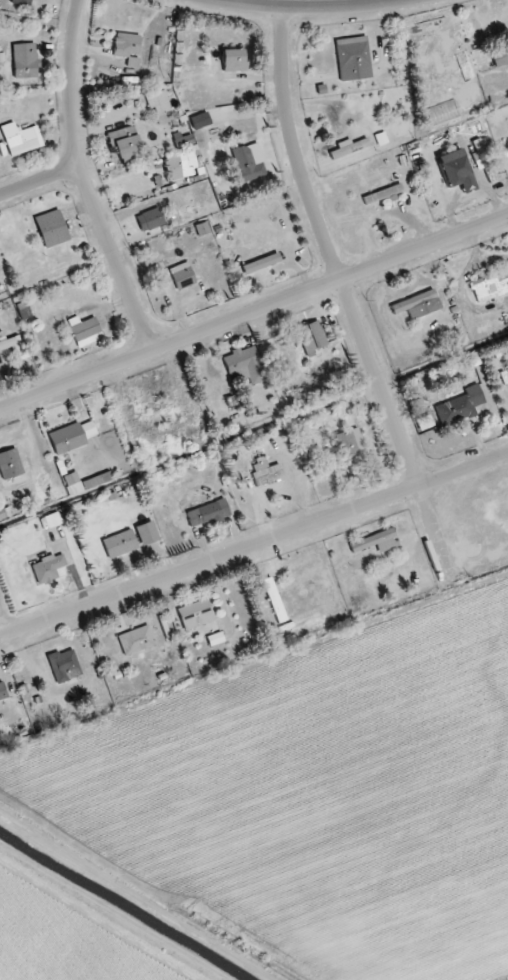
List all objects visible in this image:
building: (21, 2)
road: (310, 7)
building: (126, 48)
building: (499, 55)
building: (352, 58)
building: (24, 60)
building: (232, 60)
building: (162, 72)
building: (157, 101)
building: (20, 139)
building: (183, 141)
building: (123, 142)
building: (349, 147)
building: (246, 164)
building: (180, 166)
building: (454, 170)
road: (85, 180)
road: (40, 182)
building: (382, 194)
building: (149, 219)
building: (51, 228)
building: (201, 229)
building: (260, 263)
building: (181, 275)
building: (490, 284)
road: (346, 296)
building: (417, 304)
road: (253, 311)
building: (84, 330)
building: (309, 337)
building: (6, 343)
building: (244, 365)
building: (295, 398)
building: (459, 406)
building: (70, 437)
building: (344, 444)
building: (9, 464)
building: (266, 475)
building: (96, 480)
building: (207, 513)
building: (146, 533)
building: (375, 541)
building: (119, 543)
road: (254, 546)
building: (47, 568)
building: (273, 600)
building: (194, 614)
building: (135, 640)
building: (63, 665)
building: (2, 692)

